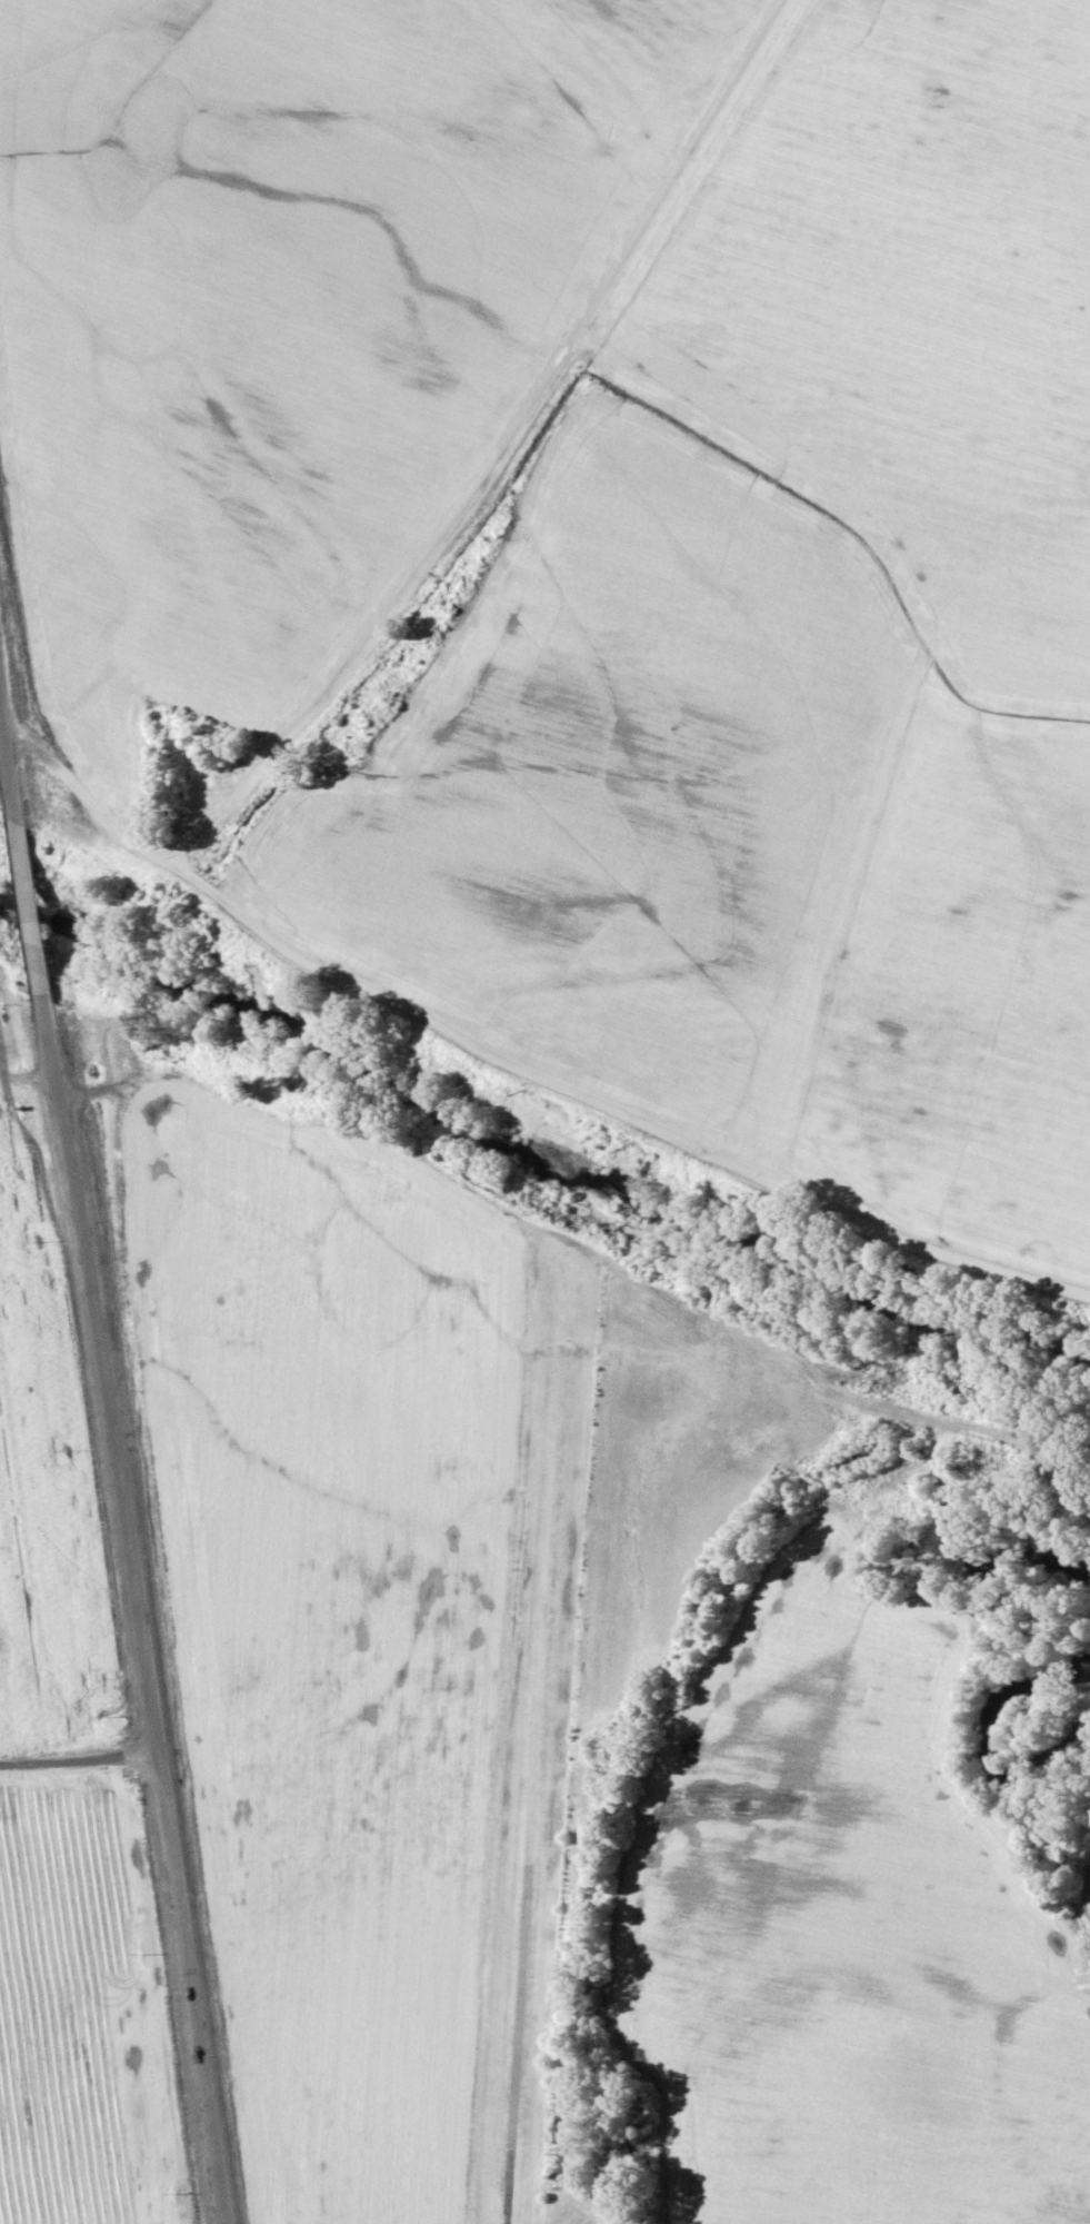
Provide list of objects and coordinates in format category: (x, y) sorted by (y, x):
road: (471, 500)
building: (373, 713)
road: (118, 1438)
airport runway: (546, 1746)
road: (81, 1749)

